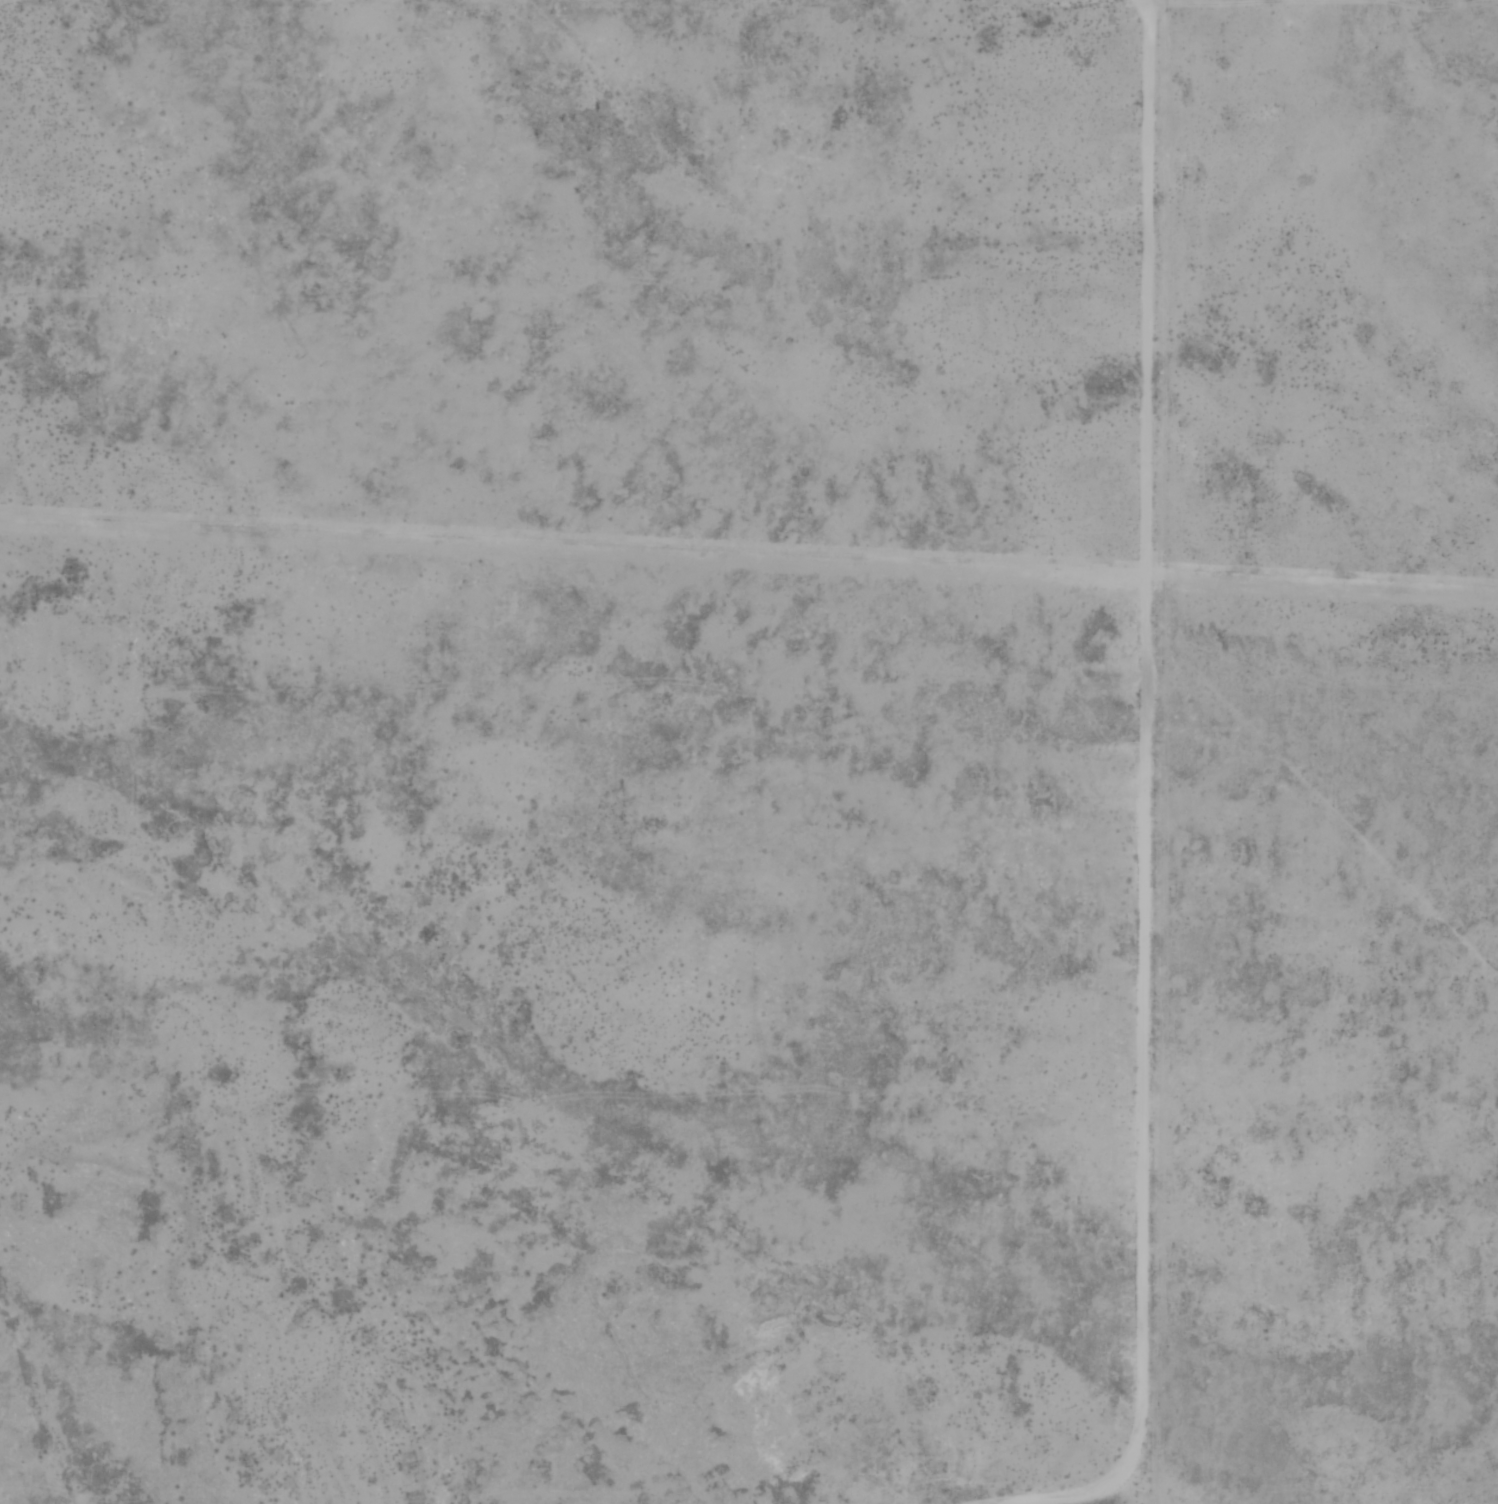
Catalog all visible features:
road: (1142, 808)

